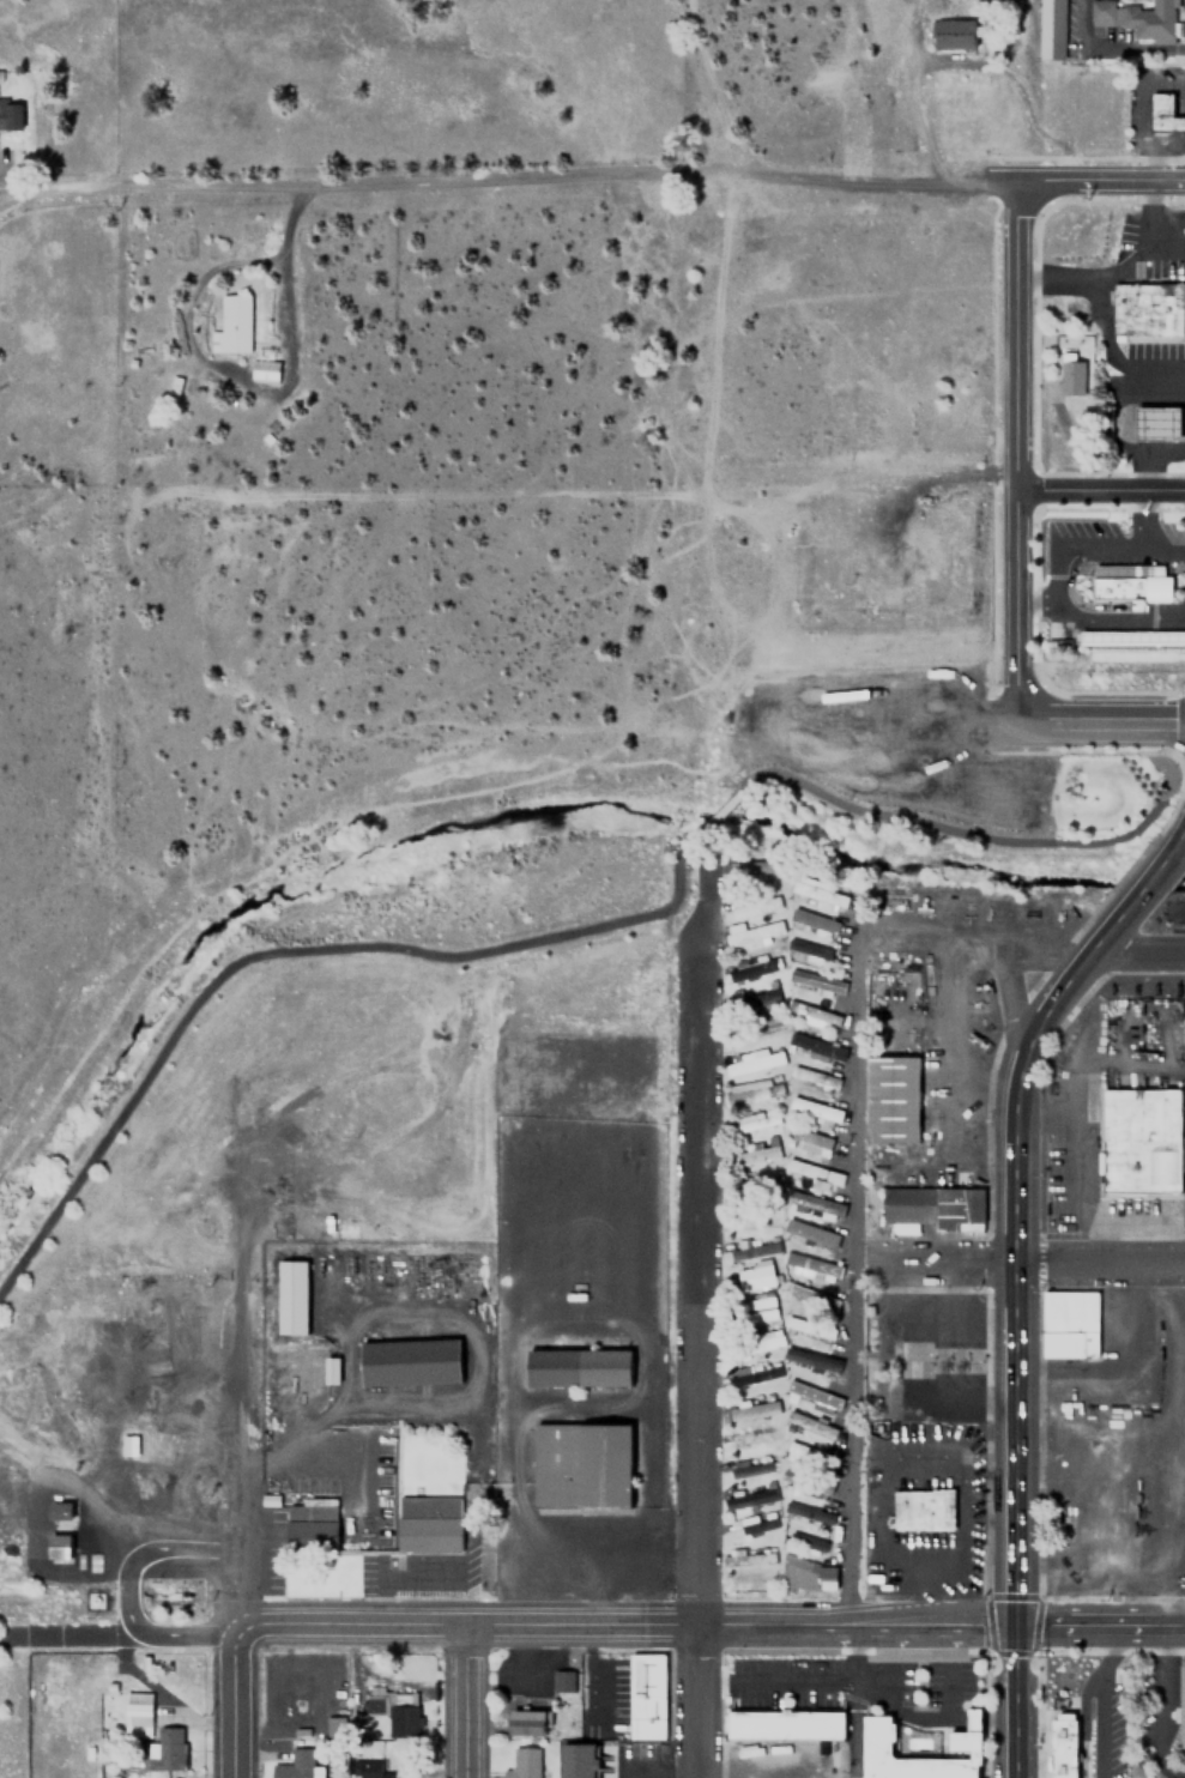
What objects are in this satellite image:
building: (1138, 18)
building: (1050, 29)
building: (953, 34)
building: (0, 75)
building: (1162, 113)
building: (10, 116)
road: (1100, 179)
building: (1147, 309)
building: (231, 323)
building: (265, 370)
building: (1070, 377)
building: (1156, 423)
gas station: (1156, 423)
road: (1012, 450)
road: (1099, 490)
building: (1130, 582)
building: (1057, 634)
building: (1130, 636)
road: (1099, 722)
traffic signals: (1174, 722)
road: (715, 818)
road: (1179, 831)
road: (971, 833)
building: (755, 865)
road: (1144, 881)
building: (818, 891)
building: (754, 905)
building: (812, 919)
building: (751, 933)
building: (808, 951)
road: (1020, 951)
road: (280, 954)
building: (752, 966)
building: (816, 980)
building: (754, 996)
road: (1009, 1003)
building: (810, 1015)
building: (757, 1027)
building: (808, 1045)
building: (752, 1060)
building: (814, 1076)
building: (752, 1089)
building: (890, 1097)
building: (814, 1109)
building: (754, 1120)
building: (1141, 1139)
building: (808, 1141)
building: (751, 1155)
building: (763, 1181)
building: (814, 1204)
building: (932, 1208)
building: (810, 1232)
building: (752, 1248)
road: (1041, 1264)
building: (812, 1266)
road: (703, 1269)
building: (754, 1276)
road: (853, 1287)
building: (811, 1295)
building: (295, 1296)
building: (756, 1308)
building: (1069, 1323)
road: (1018, 1333)
building: (756, 1342)
building: (811, 1359)
building: (410, 1361)
building: (578, 1367)
building: (333, 1369)
building: (736, 1383)
road: (231, 1393)
building: (812, 1395)
building: (749, 1409)
building: (810, 1428)
building: (751, 1439)
building: (127, 1445)
building: (811, 1456)
building: (581, 1465)
building: (749, 1466)
building: (806, 1482)
building: (749, 1498)
building: (50, 1508)
building: (921, 1510)
building: (61, 1511)
building: (756, 1523)
building: (428, 1524)
building: (310, 1526)
building: (805, 1543)
building: (53, 1547)
building: (746, 1556)
building: (808, 1576)
building: (746, 1583)
road: (126, 1590)
traffic signals: (1018, 1622)
road: (1101, 1622)
road: (951, 1623)
road: (470, 1625)
road: (794, 1625)
building: (562, 1681)
building: (646, 1697)
road: (234, 1701)
road: (467, 1701)
road: (703, 1701)
road: (852, 1701)
building: (1181, 1703)
building: (392, 1709)
building: (137, 1714)
building: (526, 1724)
building: (785, 1725)
building: (963, 1744)
building: (1063, 1747)
building: (169, 1748)
building: (576, 1760)
building: (522, 1762)
building: (294, 1765)
building: (371, 1770)

